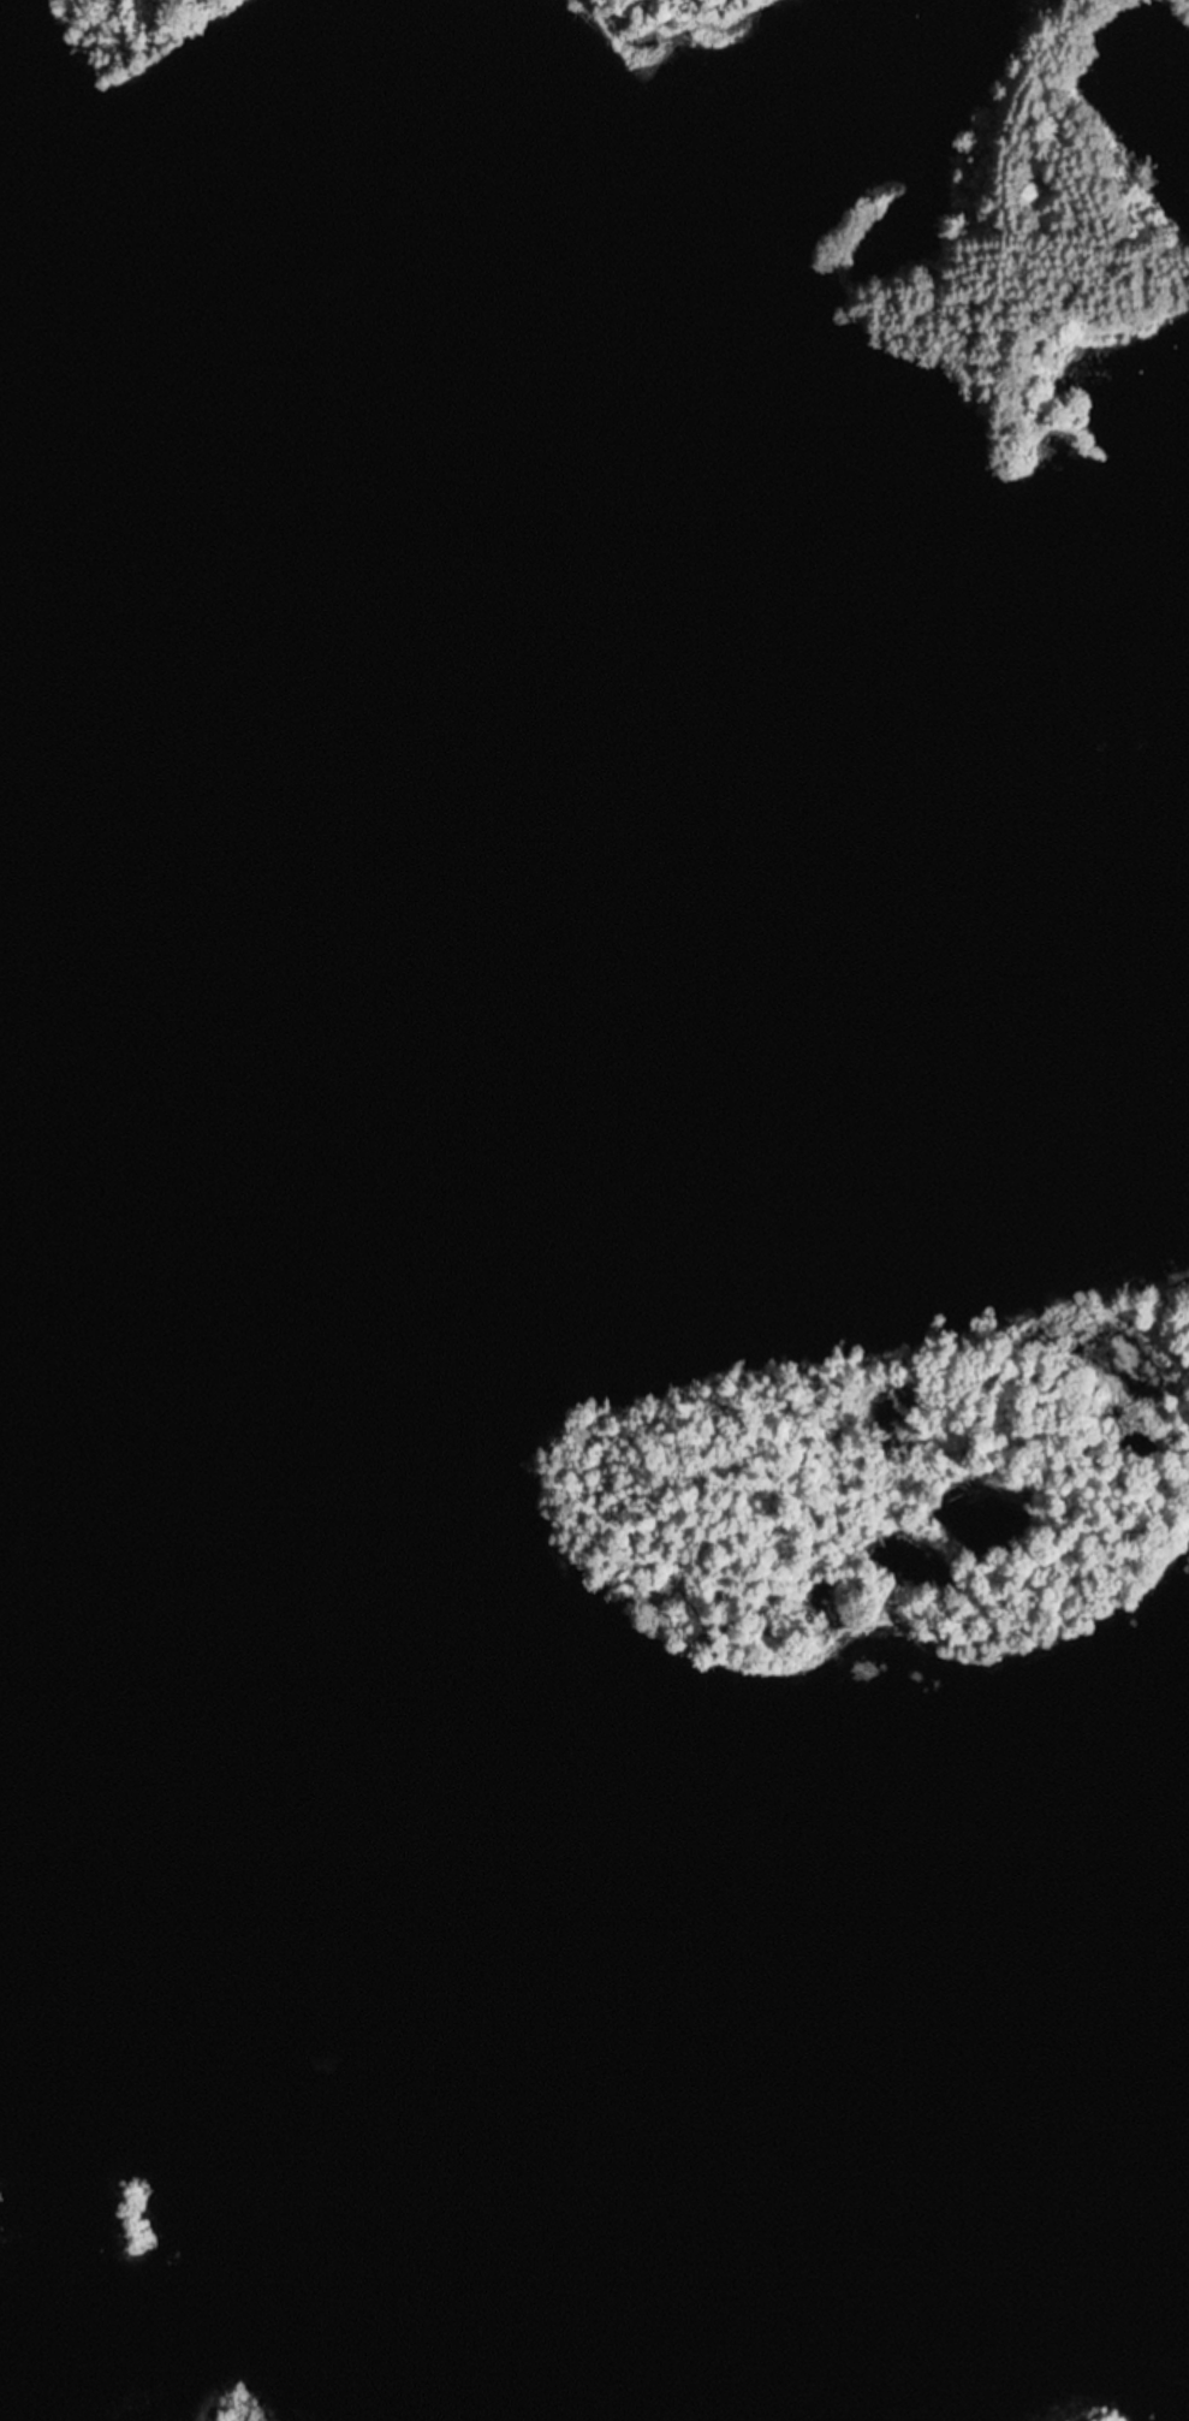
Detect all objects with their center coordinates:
river: (589, 2028)

